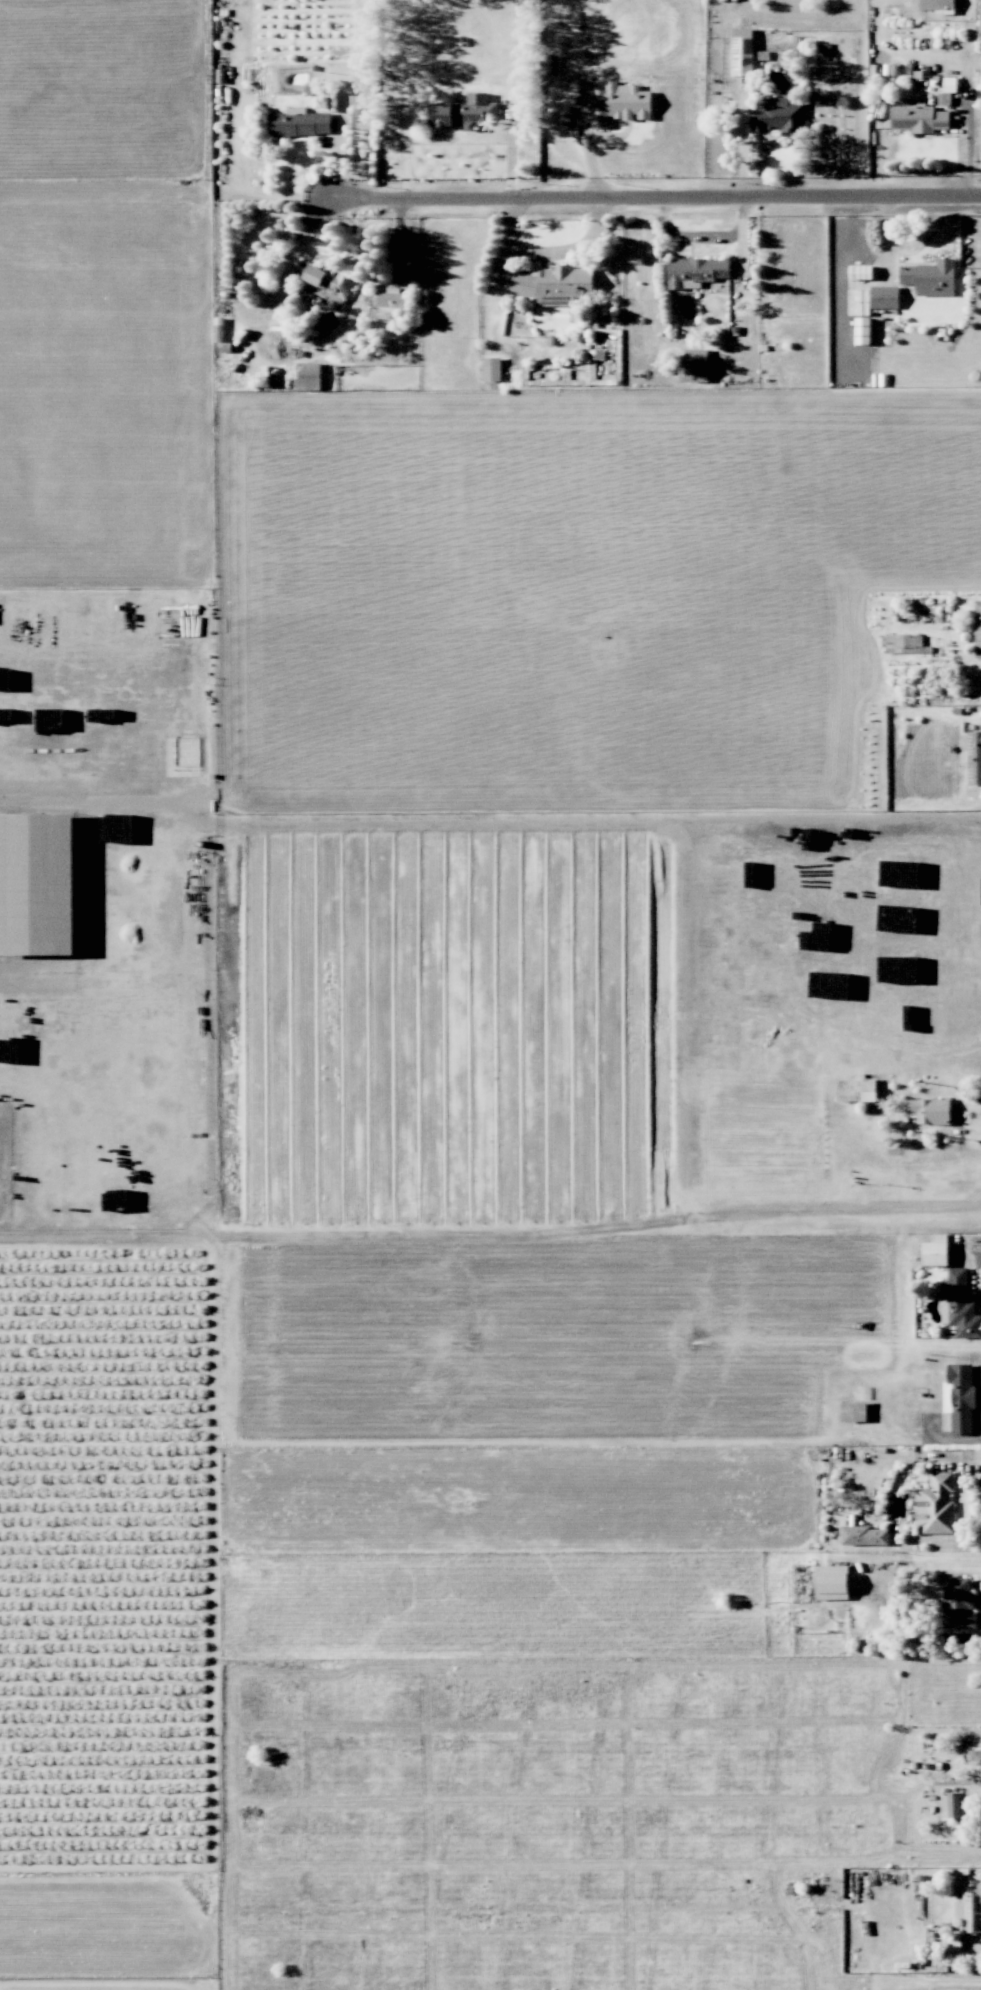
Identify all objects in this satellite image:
building: (936, 5)
building: (742, 52)
building: (946, 91)
building: (619, 104)
building: (464, 112)
building: (779, 116)
building: (917, 117)
building: (299, 123)
road: (458, 137)
road: (654, 203)
road: (547, 253)
building: (860, 272)
building: (696, 273)
building: (930, 277)
building: (329, 280)
building: (554, 284)
building: (884, 297)
building: (390, 301)
building: (862, 330)
building: (696, 365)
building: (492, 369)
building: (309, 376)
building: (976, 626)
building: (972, 755)
building: (37, 884)
building: (856, 1090)
building: (931, 1110)
building: (935, 1250)
road: (970, 1258)
building: (960, 1304)
building: (959, 1397)
road: (882, 1398)
building: (853, 1411)
road: (964, 1455)
building: (936, 1504)
building: (865, 1536)
building: (832, 1582)
building: (958, 1604)
building: (975, 1756)
building: (950, 1806)
building: (968, 1904)
building: (953, 1943)

